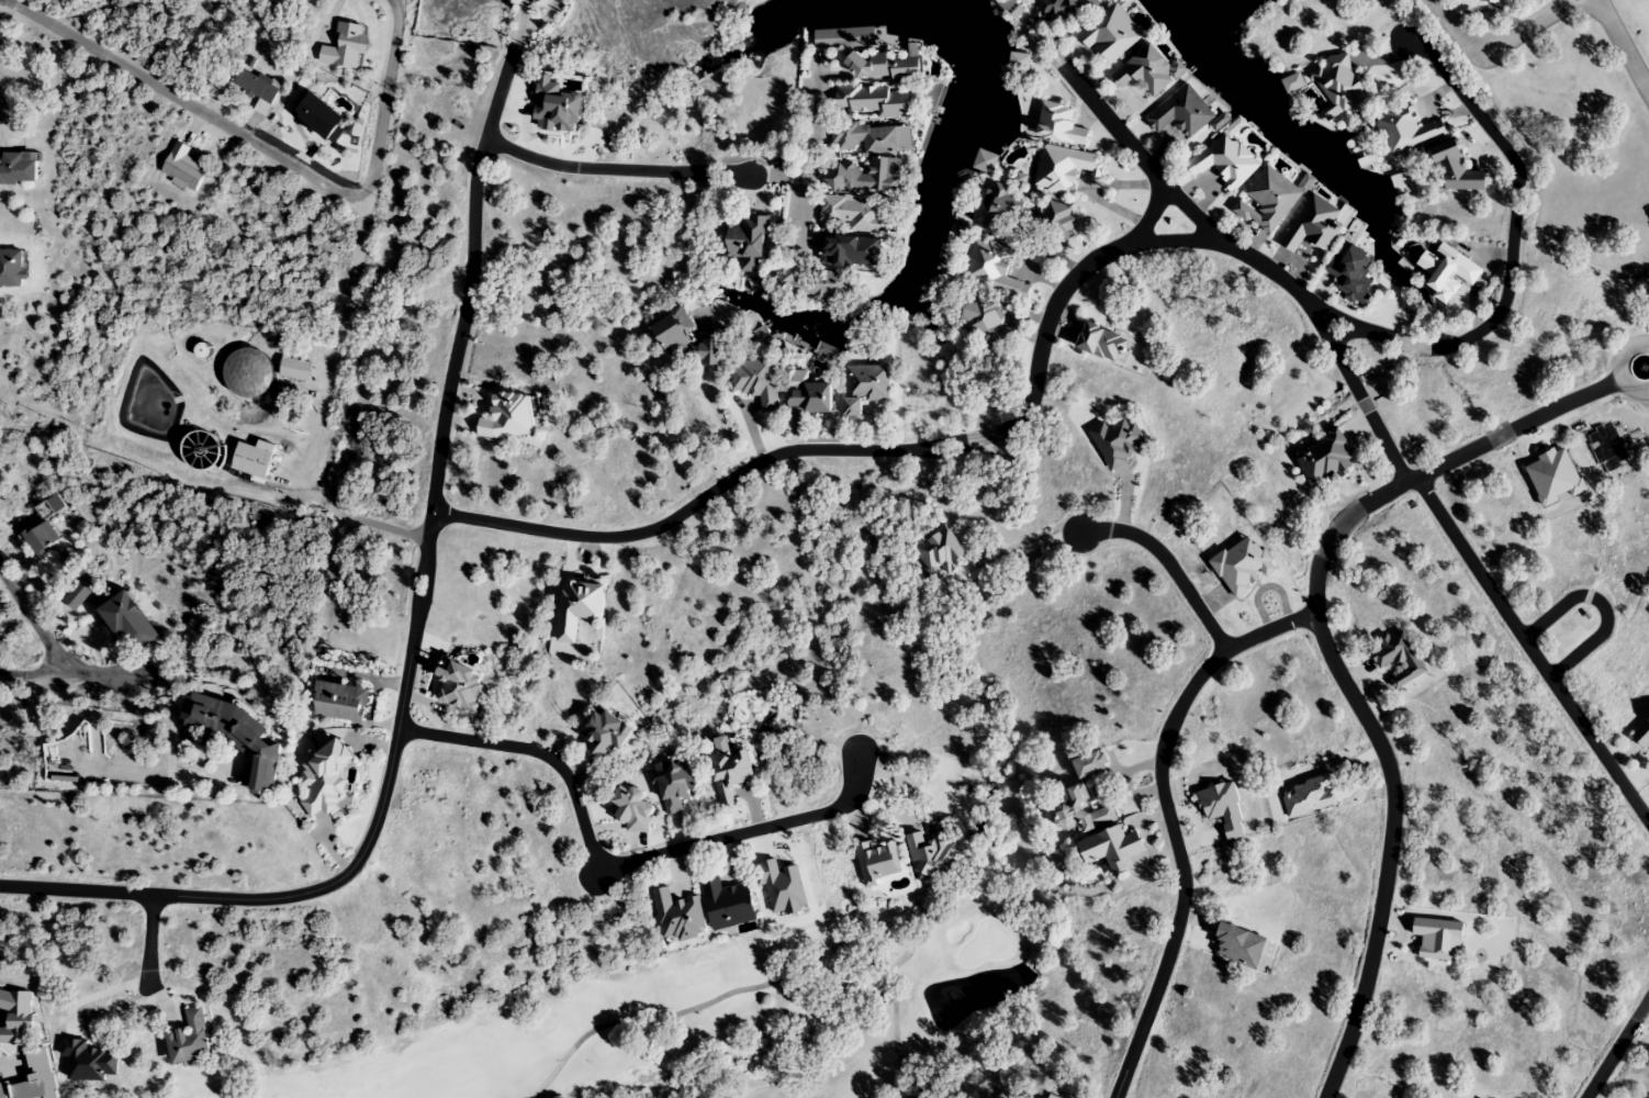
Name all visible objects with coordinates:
building: (1488, 3)
road: (395, 7)
building: (1063, 10)
building: (1008, 15)
building: (1109, 40)
road: (1502, 41)
building: (845, 46)
road: (1622, 46)
building: (345, 47)
building: (1019, 68)
building: (1146, 77)
building: (1339, 83)
building: (256, 88)
building: (1294, 93)
building: (874, 100)
building: (1181, 117)
building: (1059, 124)
building: (1405, 130)
building: (862, 137)
road: (262, 148)
building: (1223, 161)
building: (182, 167)
building: (18, 168)
road: (618, 168)
building: (983, 168)
building: (1064, 168)
building: (1455, 170)
building: (862, 176)
road: (1157, 176)
building: (1267, 206)
building: (1002, 211)
building: (853, 215)
building: (1058, 219)
building: (1316, 226)
building: (747, 245)
road: (1511, 249)
building: (11, 268)
building: (994, 269)
building: (1350, 271)
building: (1448, 273)
building: (811, 284)
building: (723, 310)
building: (987, 324)
building: (671, 335)
building: (1102, 343)
building: (710, 350)
building: (201, 352)
road: (1615, 367)
building: (294, 369)
road: (1345, 369)
building: (249, 372)
building: (756, 381)
building: (864, 386)
building: (808, 394)
building: (508, 416)
road: (880, 450)
building: (251, 460)
building: (1324, 461)
building: (42, 538)
road: (1169, 563)
building: (80, 593)
road: (1601, 604)
building: (579, 607)
road: (417, 610)
road: (34, 621)
road: (1530, 651)
building: (1399, 659)
road: (1331, 661)
road: (31, 676)
road: (103, 679)
building: (339, 702)
building: (606, 732)
building: (234, 735)
building: (1641, 735)
building: (1090, 764)
building: (730, 773)
building: (324, 778)
building: (676, 785)
building: (631, 809)
building: (1080, 815)
road: (1170, 820)
building: (1111, 847)
building: (933, 853)
building: (877, 862)
road: (619, 864)
building: (730, 905)
building: (678, 917)
road: (1400, 935)
road: (150, 938)
park: (721, 1017)
building: (189, 1040)
road: (1615, 1047)
road: (1591, 1096)

